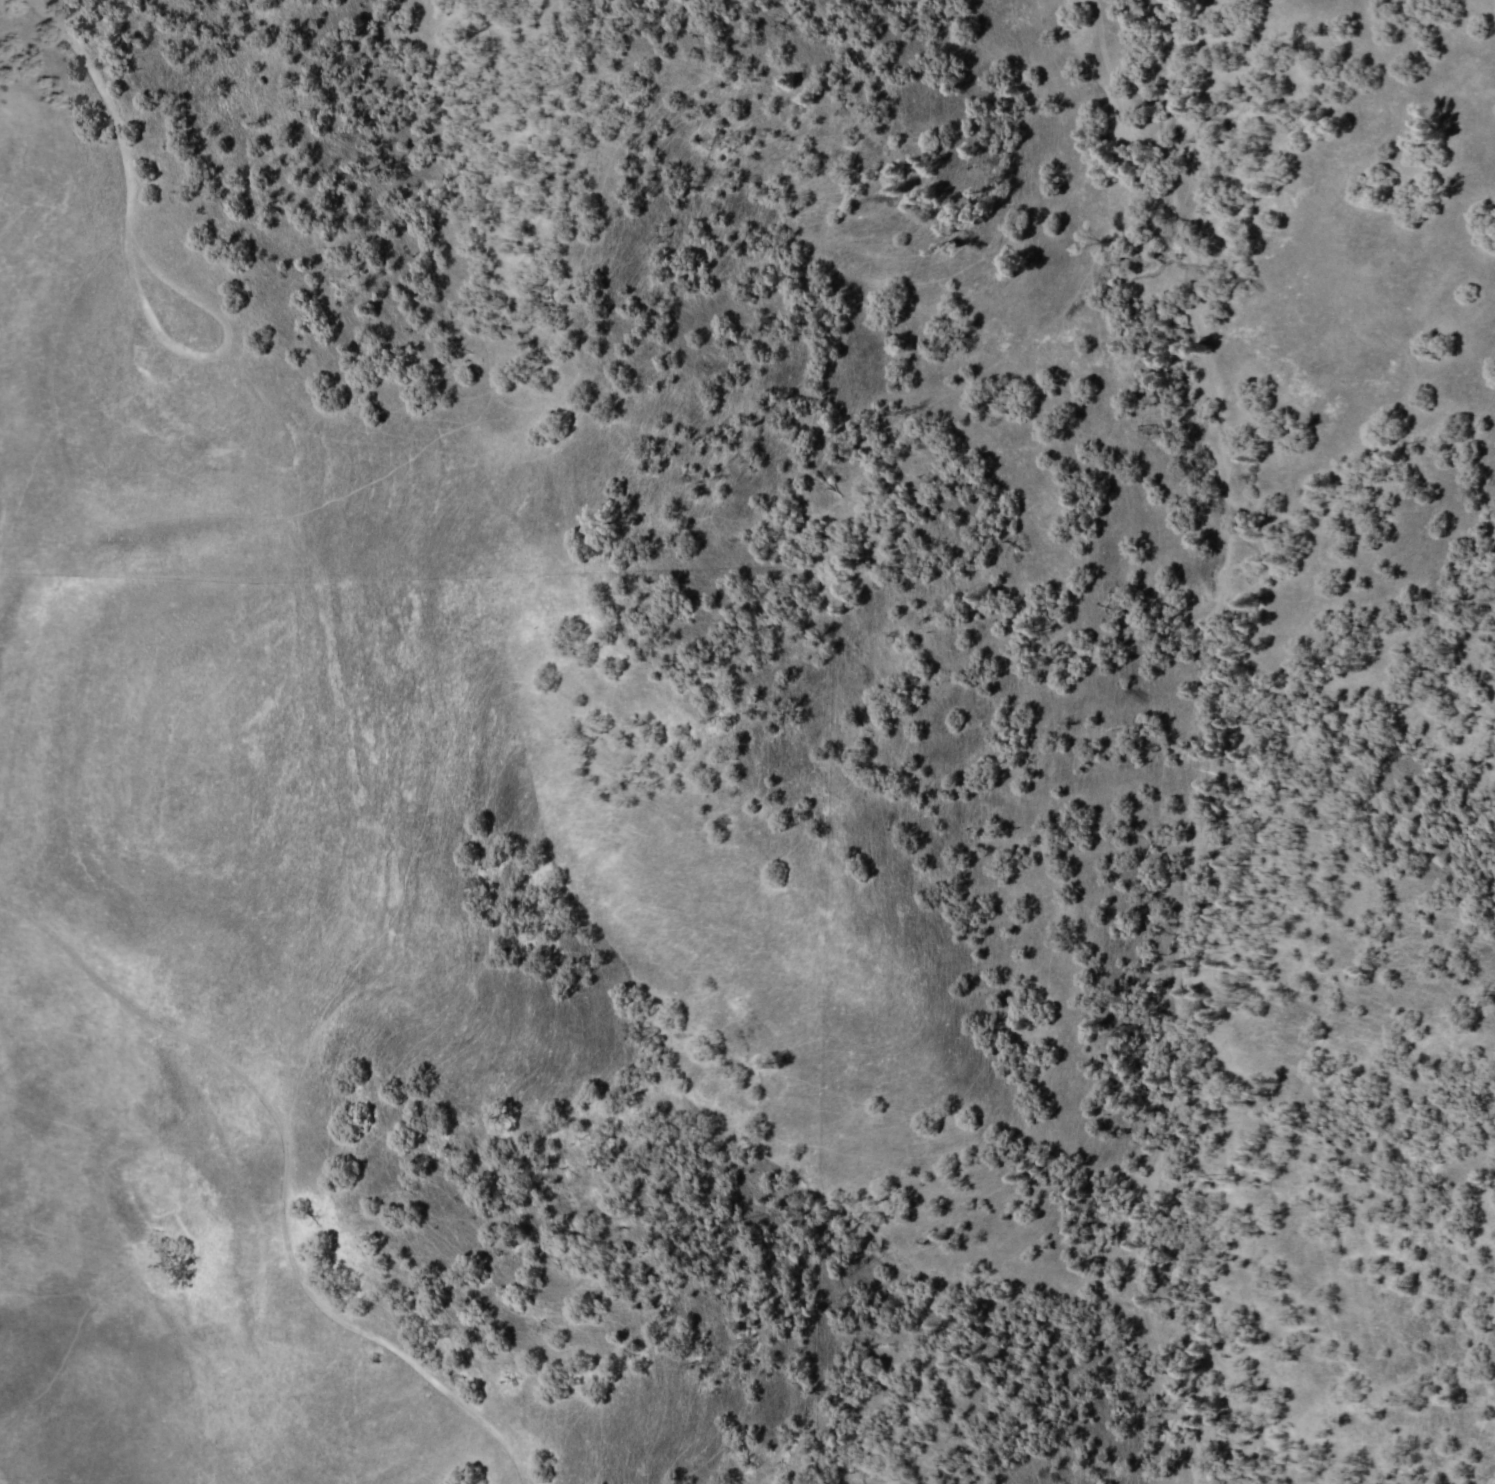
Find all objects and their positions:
road: (85, 451)

